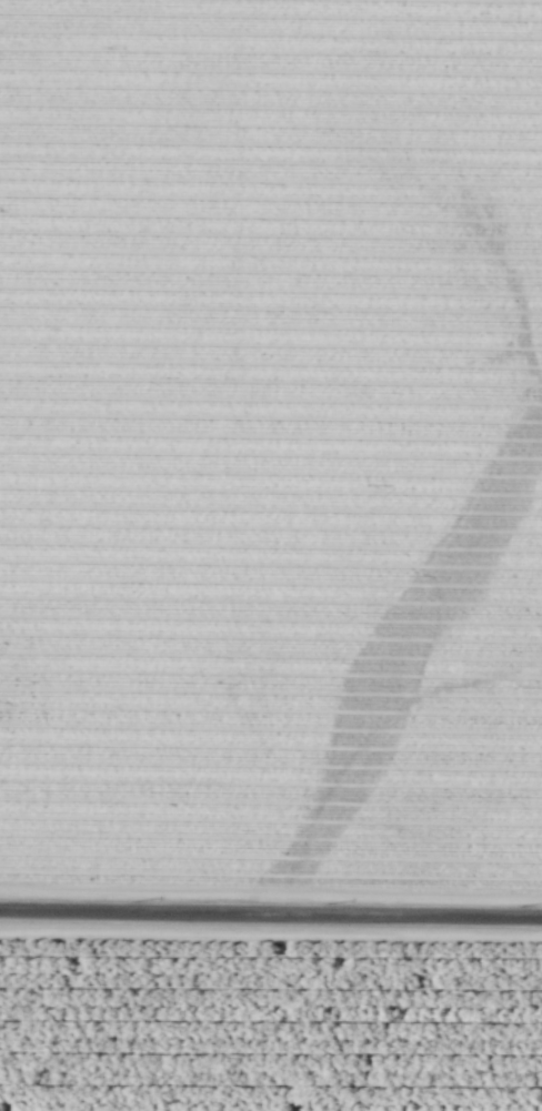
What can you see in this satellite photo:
road: (271, 893)
road: (271, 910)
road: (270, 930)

